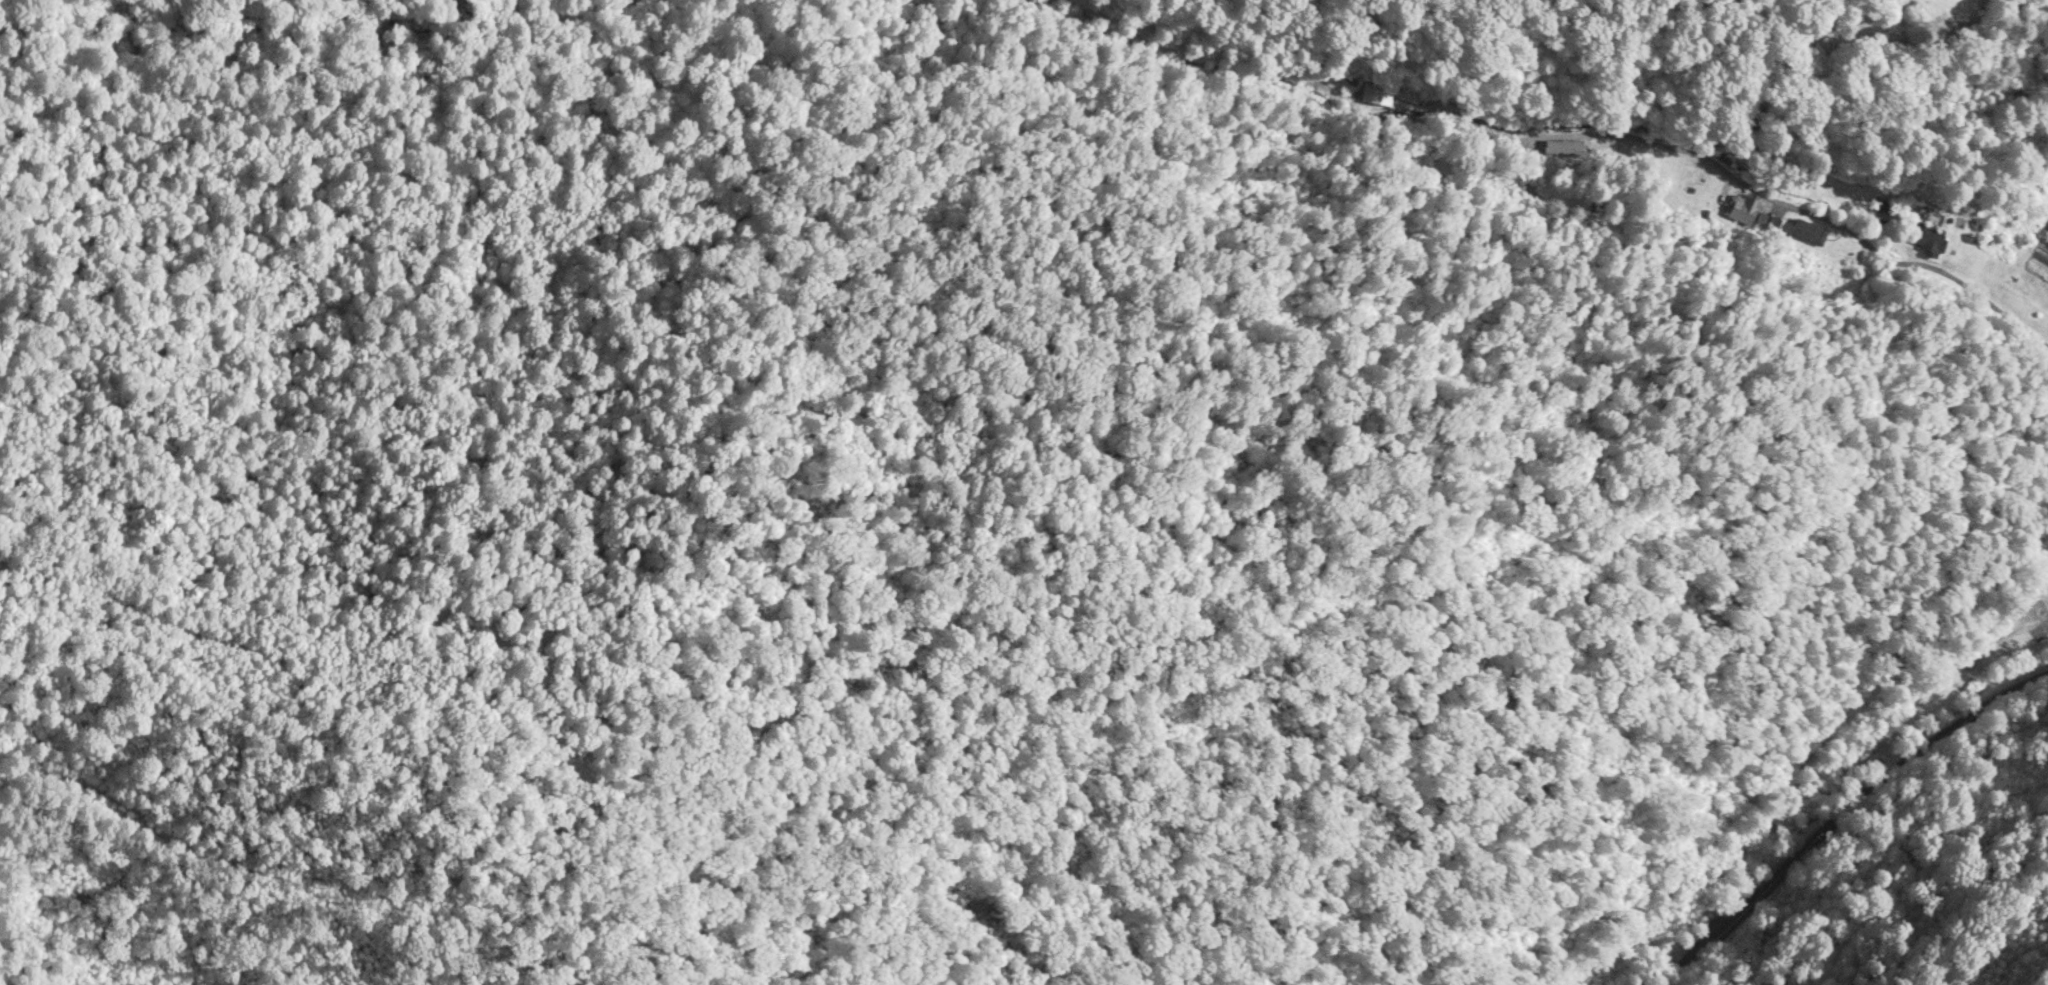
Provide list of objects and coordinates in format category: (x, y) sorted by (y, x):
building: (1356, 96)
road: (1752, 180)
building: (1886, 212)
building: (1810, 232)
building: (1931, 240)
road: (1840, 813)

